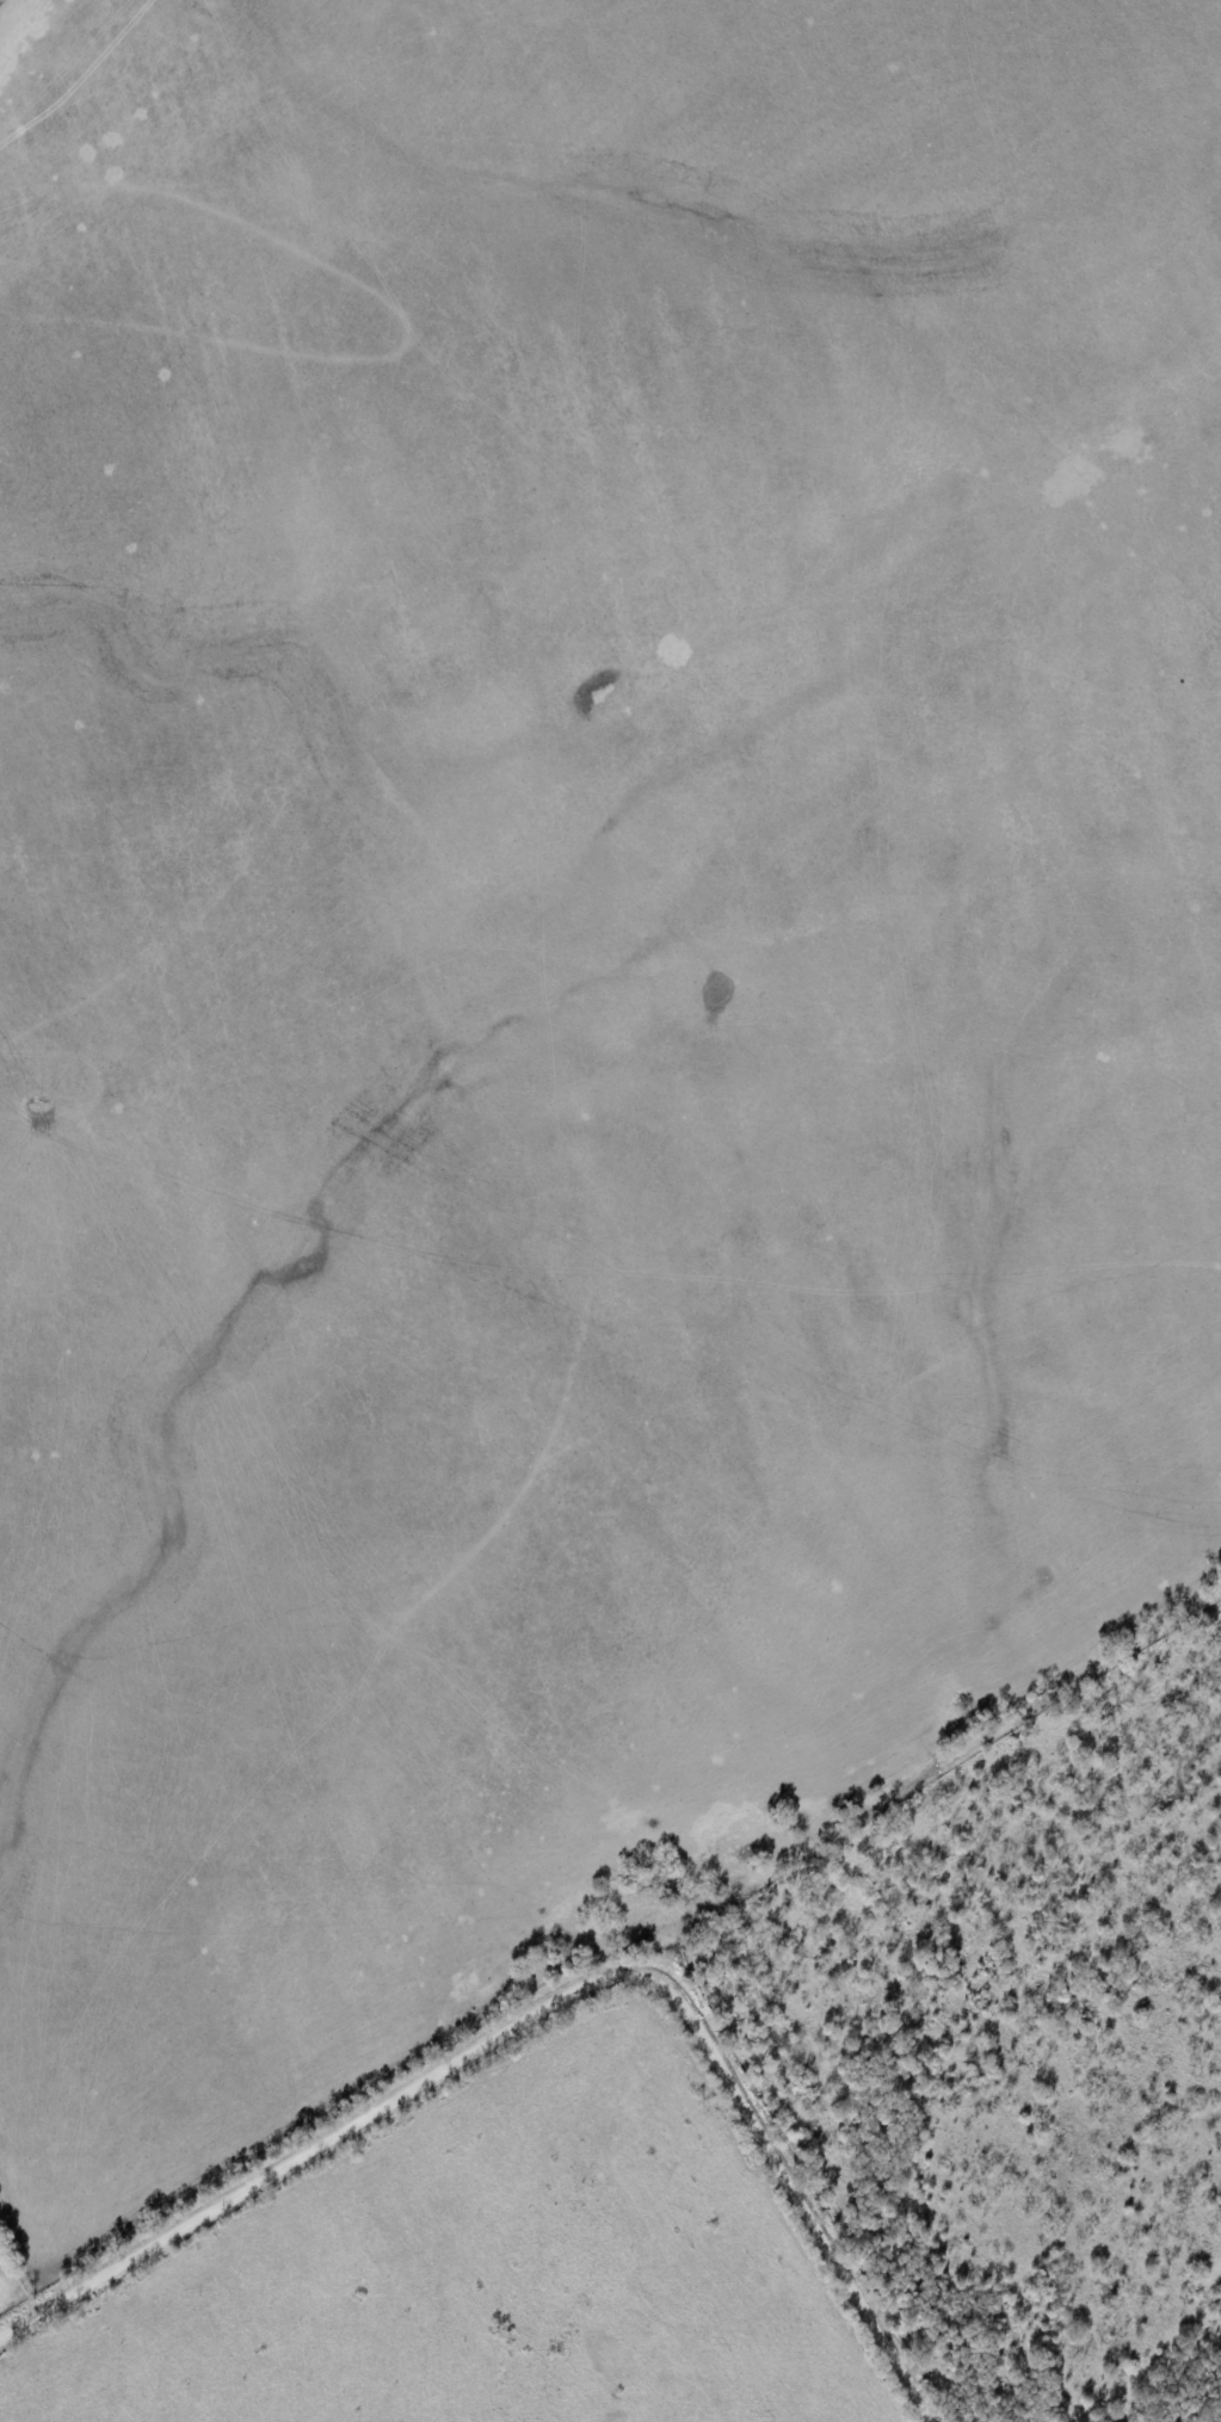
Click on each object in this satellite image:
road: (548, 2010)

